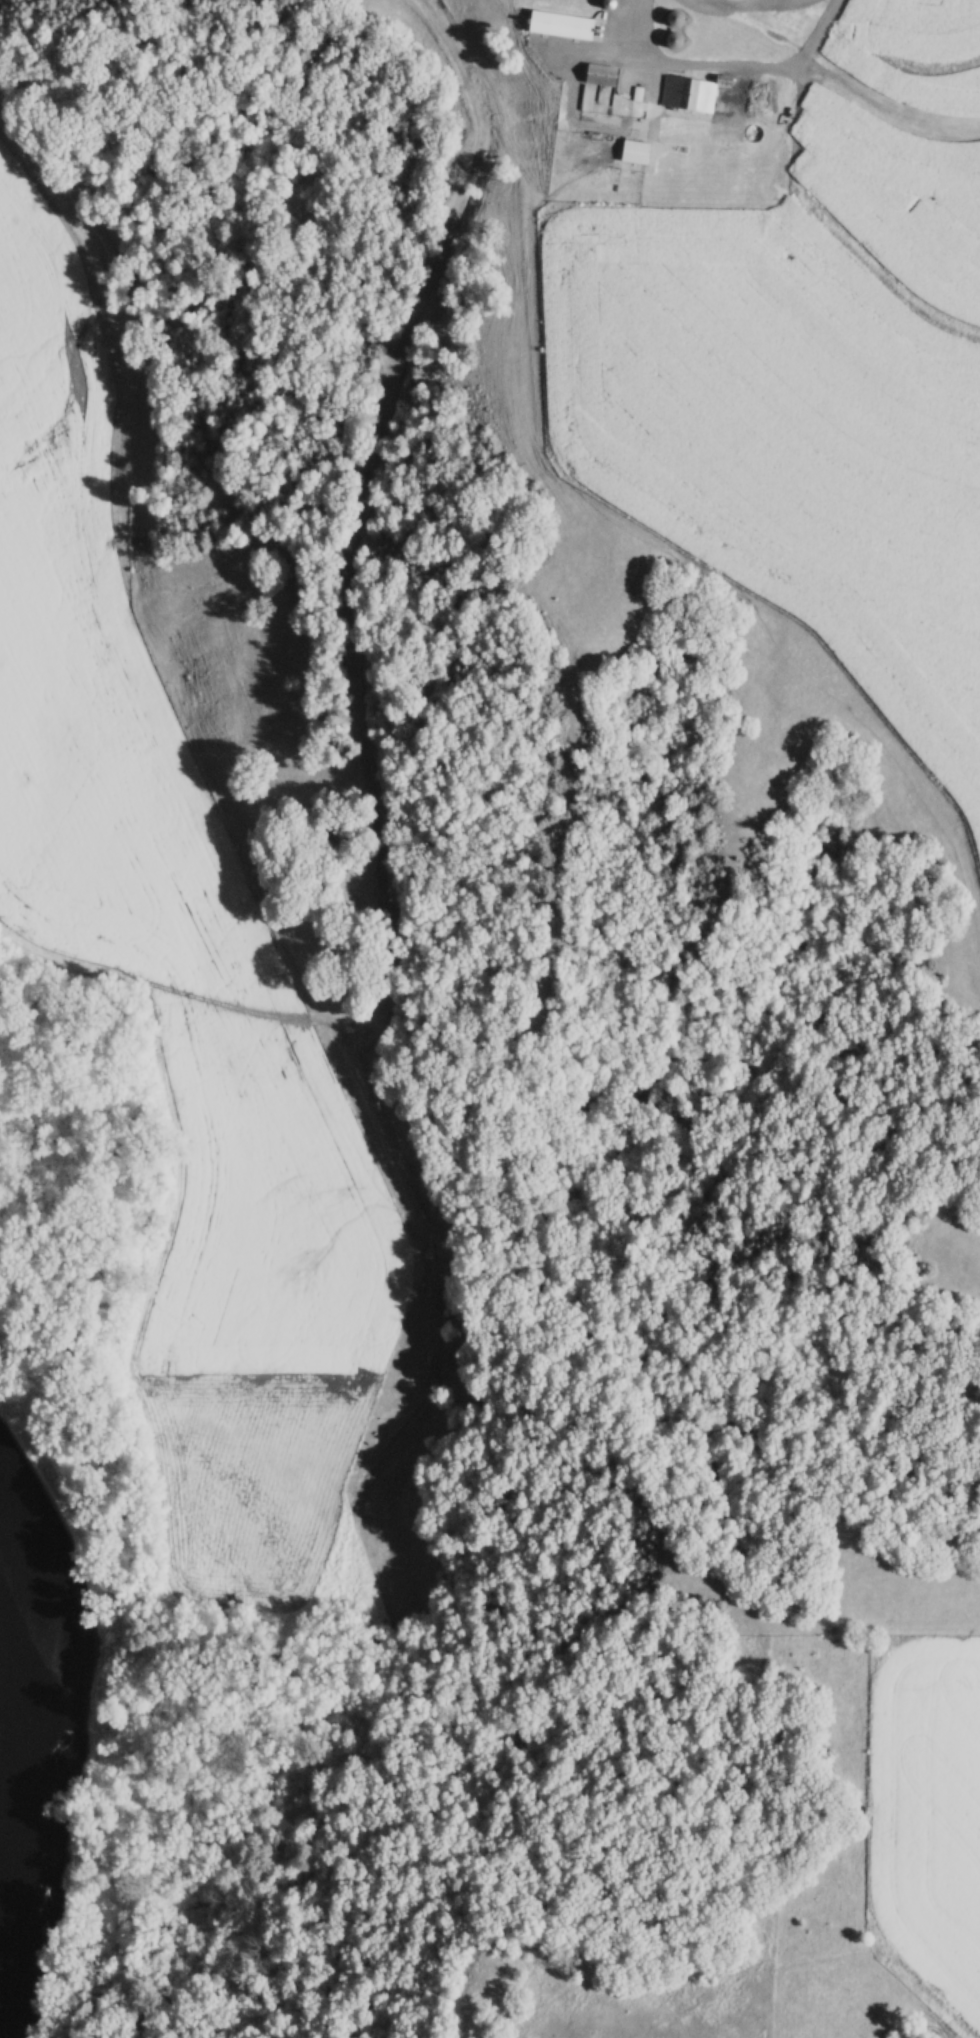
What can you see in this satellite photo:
building: (679, 19)
building: (565, 25)
building: (680, 39)
building: (604, 75)
building: (690, 93)
building: (638, 152)
river: (37, 1695)

